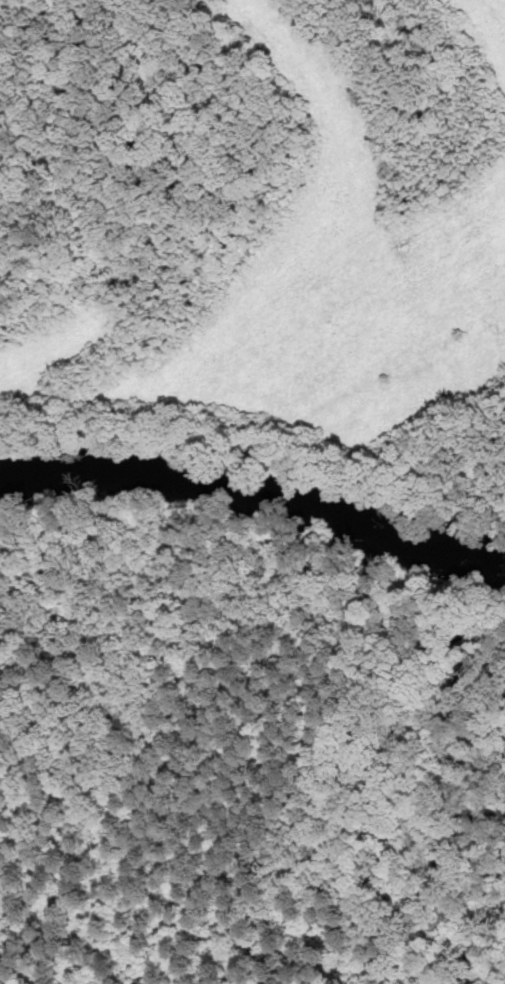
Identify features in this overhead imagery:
river: (256, 494)
road: (337, 632)

